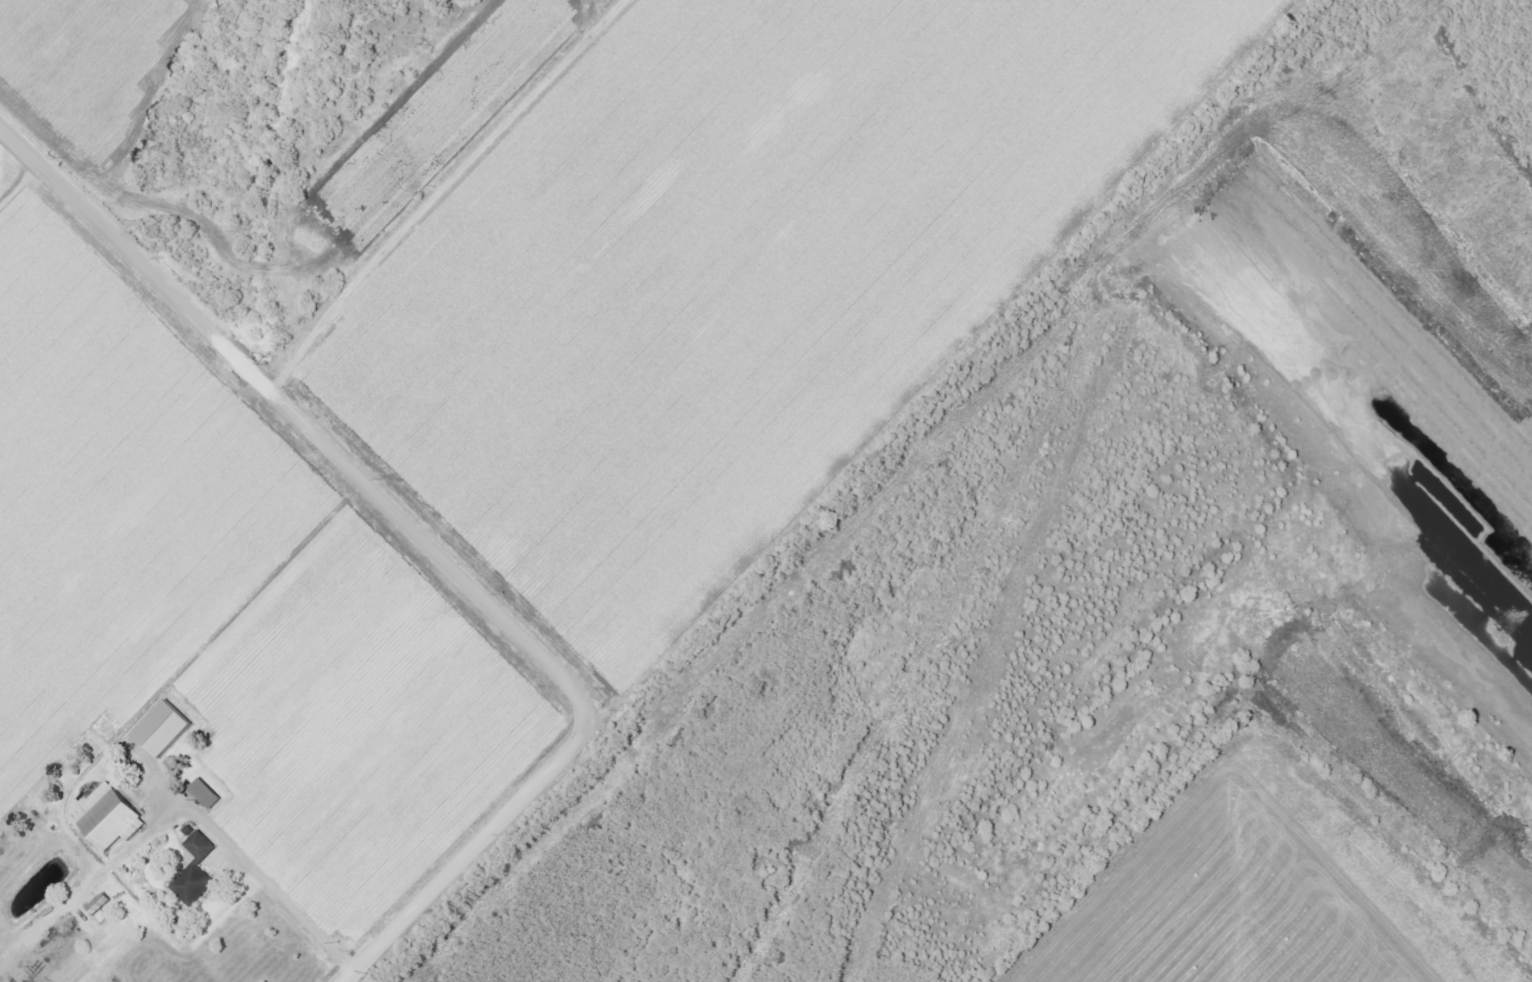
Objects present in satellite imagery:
road: (445, 189)
road: (432, 542)
building: (162, 729)
building: (205, 794)
building: (108, 818)
building: (195, 870)
road: (246, 881)
building: (99, 904)

